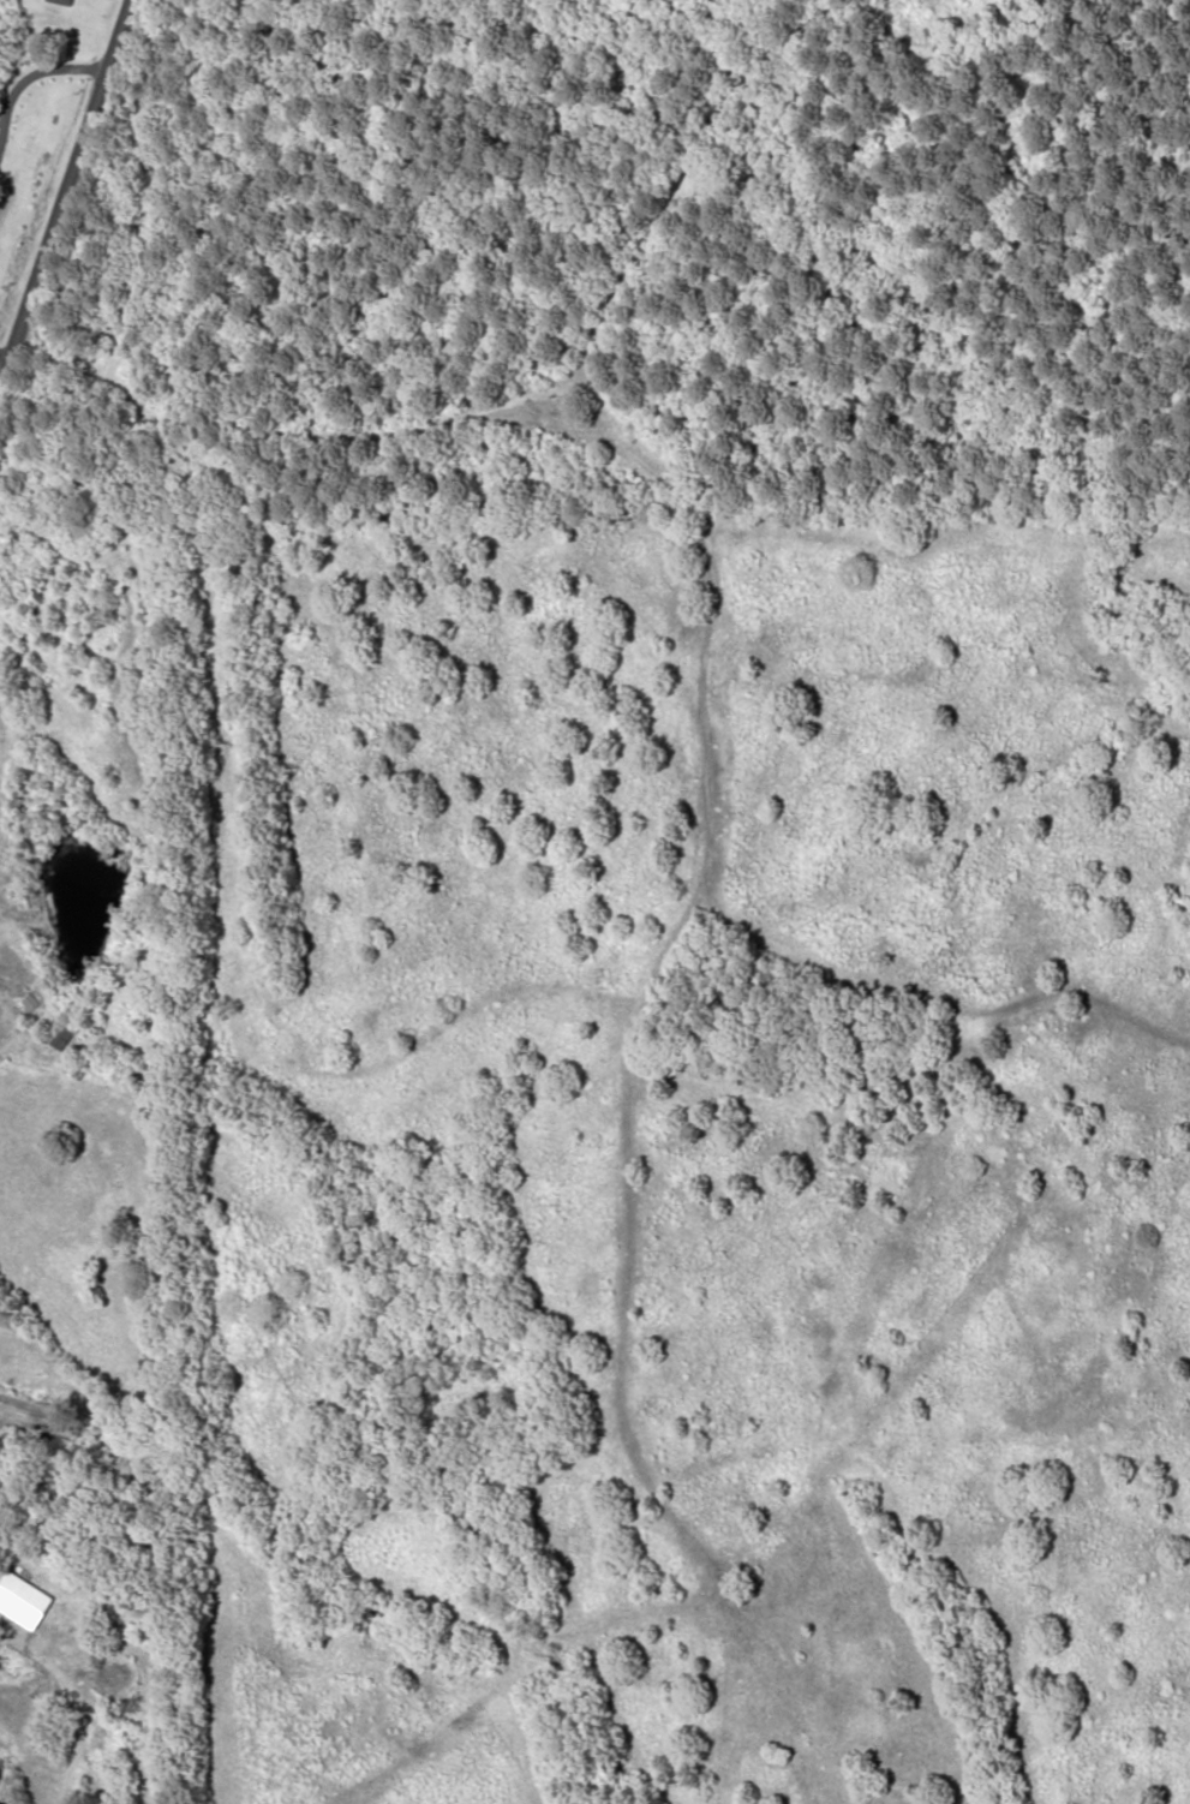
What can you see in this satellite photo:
building: (61, 1)
road: (116, 34)
road: (54, 223)
road: (4, 354)
building: (62, 1039)

